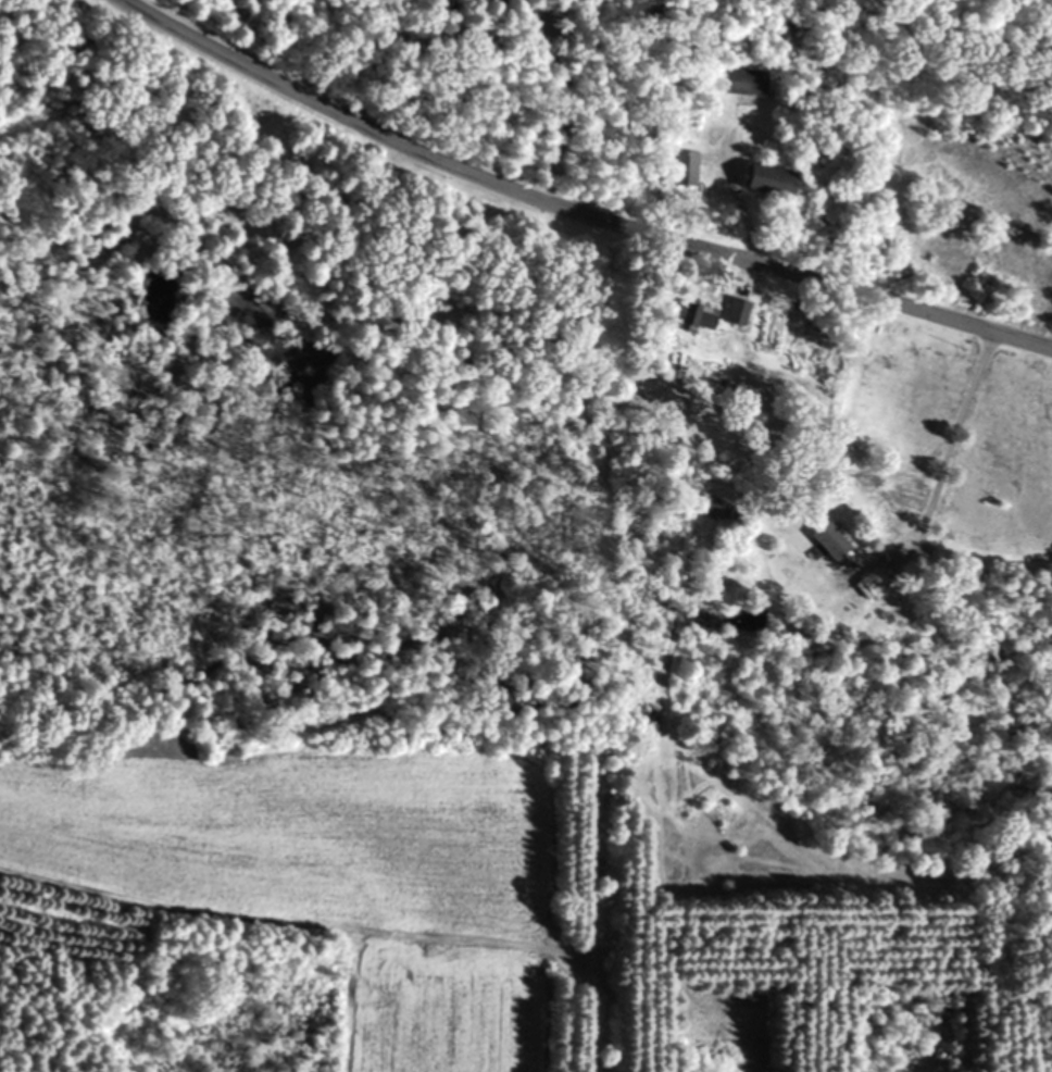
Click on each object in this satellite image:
building: (740, 82)
road: (562, 98)
building: (760, 180)
road: (731, 195)
road: (571, 211)
building: (730, 311)
building: (690, 316)
road: (960, 435)
building: (826, 551)
building: (864, 583)

